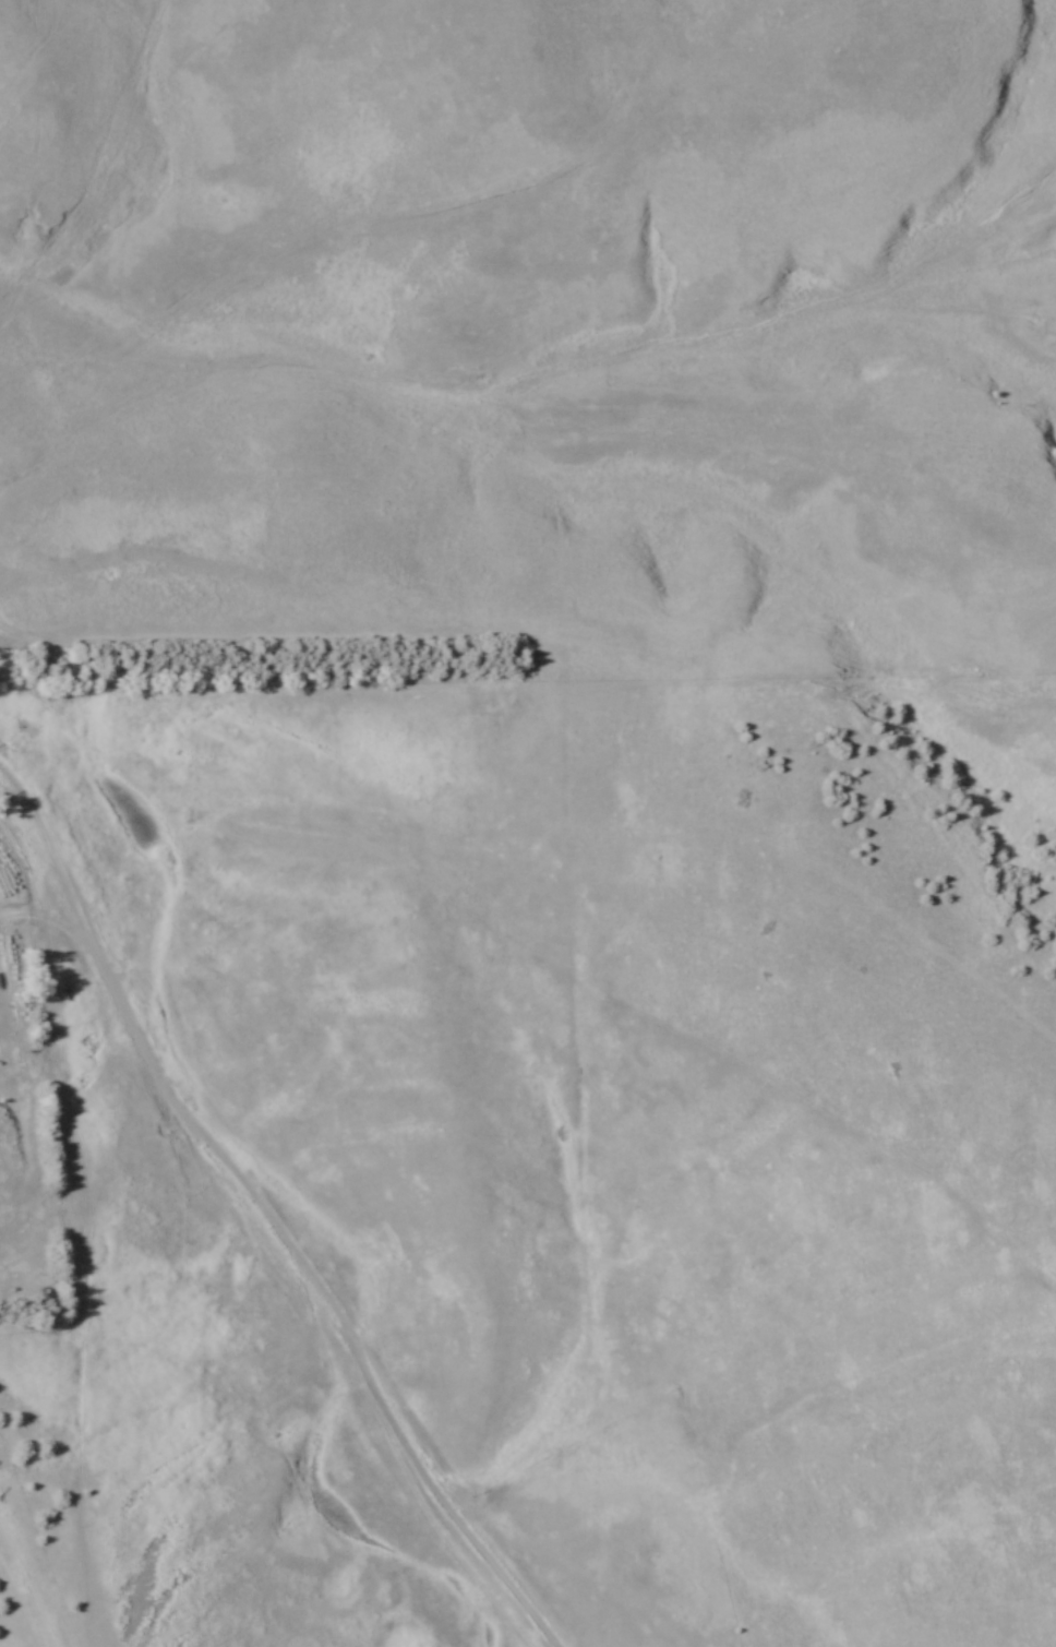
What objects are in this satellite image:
road: (252, 1227)

